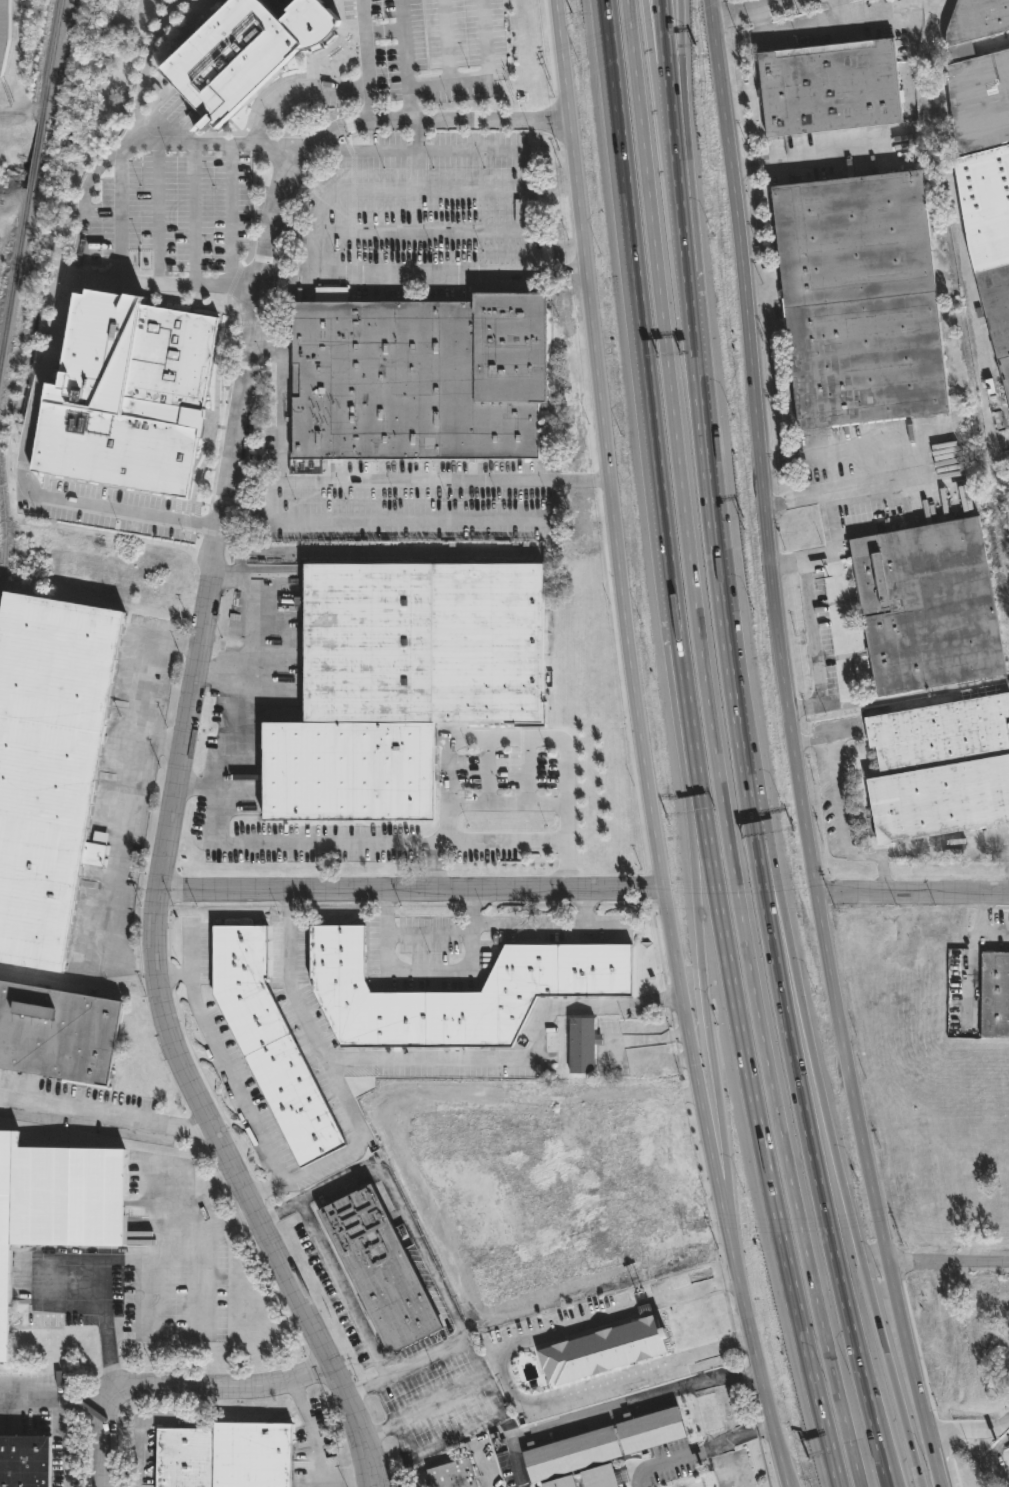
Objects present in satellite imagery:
road: (749, 9)
road: (841, 10)
road: (825, 25)
building: (474, 30)
building: (3, 32)
road: (656, 32)
road: (404, 43)
road: (663, 43)
road: (673, 44)
building: (241, 53)
railway: (53, 61)
road: (362, 64)
road: (463, 78)
building: (829, 89)
road: (291, 93)
road: (139, 138)
road: (366, 151)
road: (517, 151)
road: (817, 155)
building: (983, 155)
railway: (37, 156)
road: (417, 170)
road: (406, 190)
road: (157, 211)
road: (229, 214)
road: (415, 272)
railway: (16, 280)
building: (859, 301)
building: (418, 379)
road: (39, 391)
building: (125, 396)
road: (649, 409)
road: (705, 478)
road: (795, 481)
road: (584, 482)
road: (471, 516)
road: (831, 518)
railway: (4, 530)
building: (927, 608)
road: (822, 635)
road: (219, 673)
building: (398, 684)
road: (194, 701)
road: (502, 738)
road: (160, 743)
road: (641, 748)
road: (714, 748)
road: (792, 748)
building: (48, 767)
building: (940, 771)
road: (198, 788)
road: (217, 799)
road: (125, 801)
road: (840, 808)
road: (502, 842)
road: (944, 852)
road: (911, 890)
road: (410, 891)
road: (583, 907)
road: (548, 925)
road: (970, 951)
road: (429, 975)
building: (556, 988)
road: (700, 992)
building: (994, 996)
building: (56, 1036)
building: (269, 1044)
building: (581, 1047)
road: (615, 1050)
road: (517, 1063)
road: (225, 1067)
road: (330, 1079)
road: (105, 1117)
building: (482, 1137)
road: (763, 1154)
building: (629, 1165)
road: (839, 1173)
road: (816, 1178)
road: (389, 1197)
building: (536, 1197)
building: (55, 1203)
building: (595, 1209)
road: (120, 1262)
road: (948, 1263)
building: (378, 1268)
road: (343, 1290)
road: (697, 1293)
road: (651, 1307)
building: (599, 1351)
road: (476, 1364)
road: (177, 1386)
road: (58, 1395)
road: (535, 1404)
road: (611, 1406)
building: (651, 1431)
road: (60, 1441)
road: (728, 1442)
building: (571, 1455)
building: (223, 1456)
road: (996, 1456)
road: (313, 1459)
road: (677, 1461)
building: (23, 1462)
building: (451, 1475)
building: (599, 1478)
building: (693, 1482)
building: (560, 1483)
road: (921, 1483)
road: (317, 1485)

